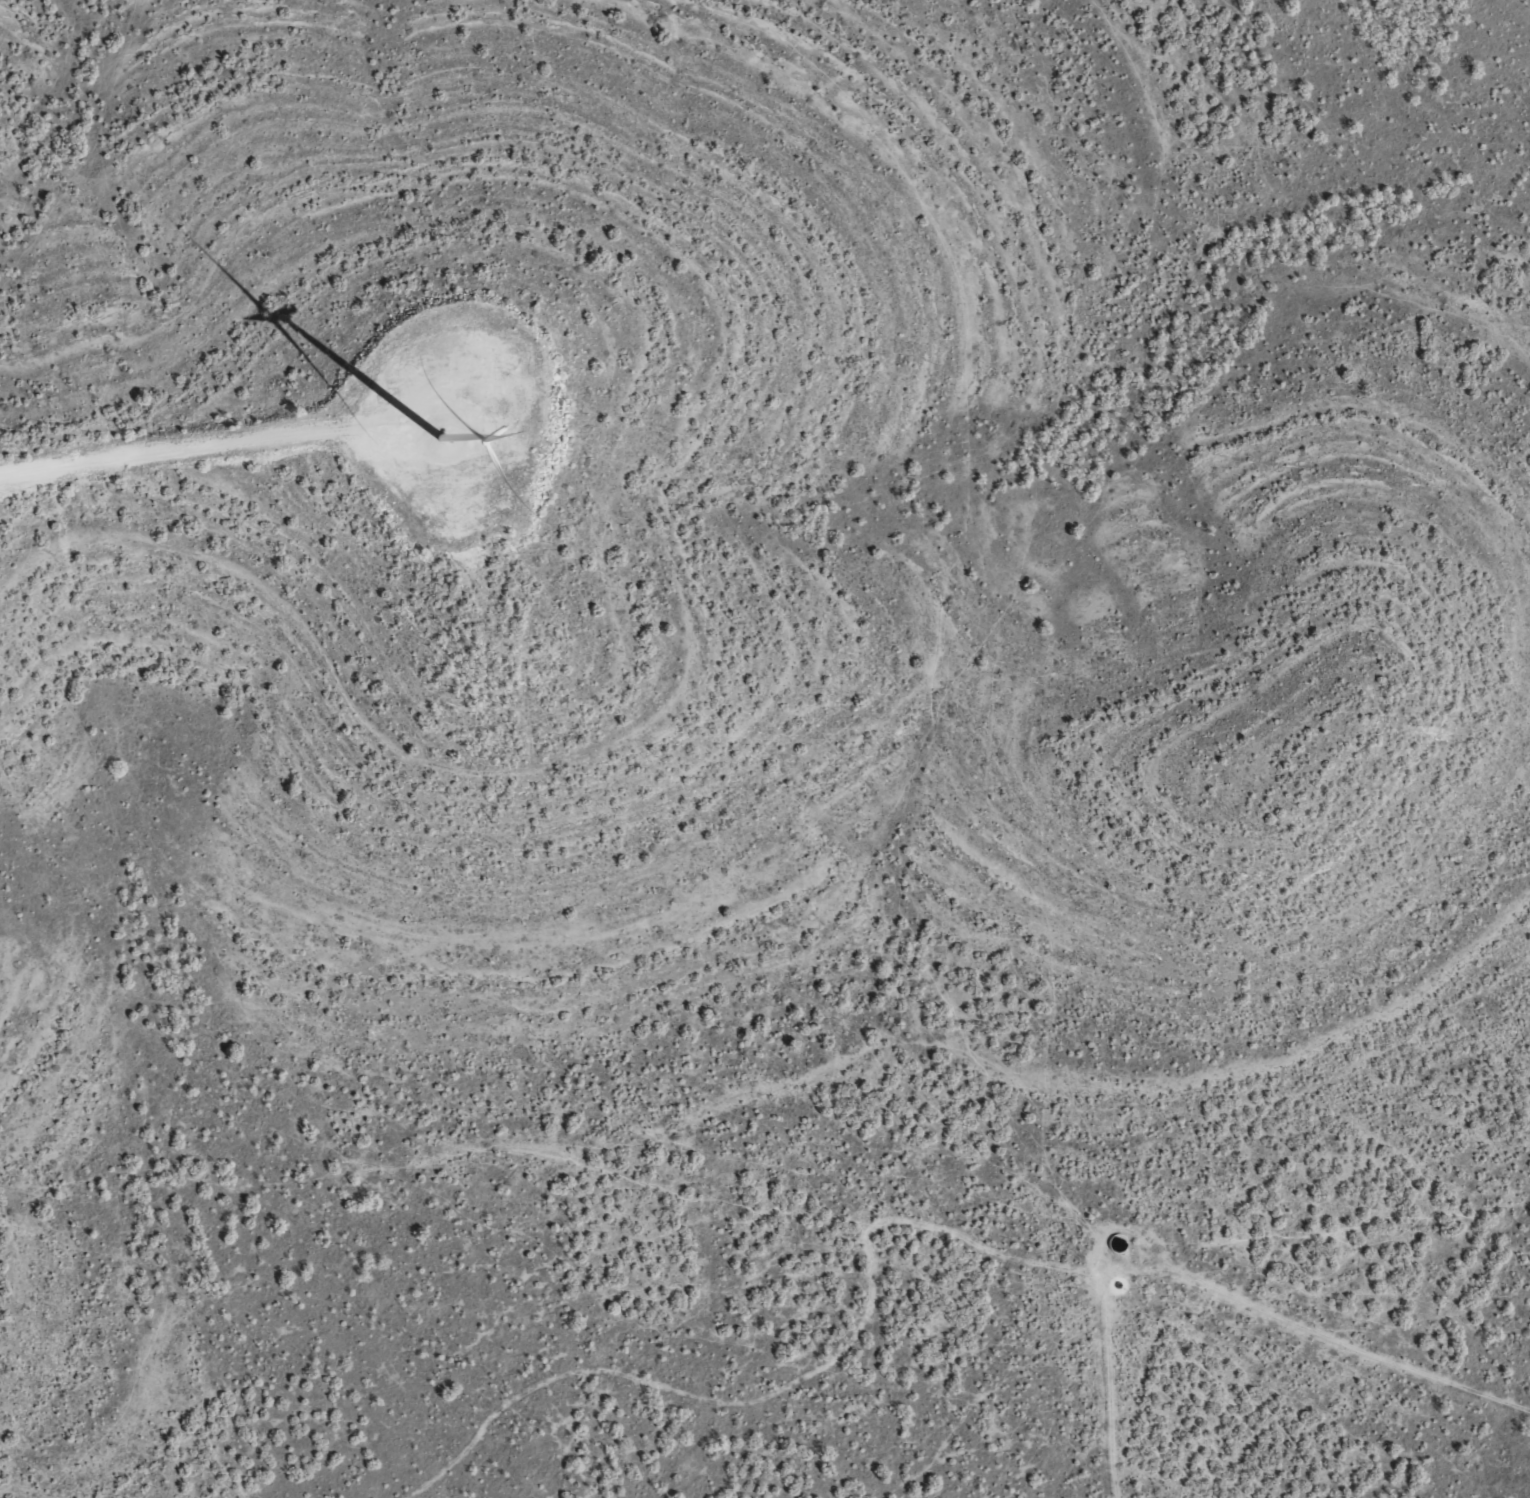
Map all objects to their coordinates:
wind turbine: (429, 434)
road: (218, 451)

